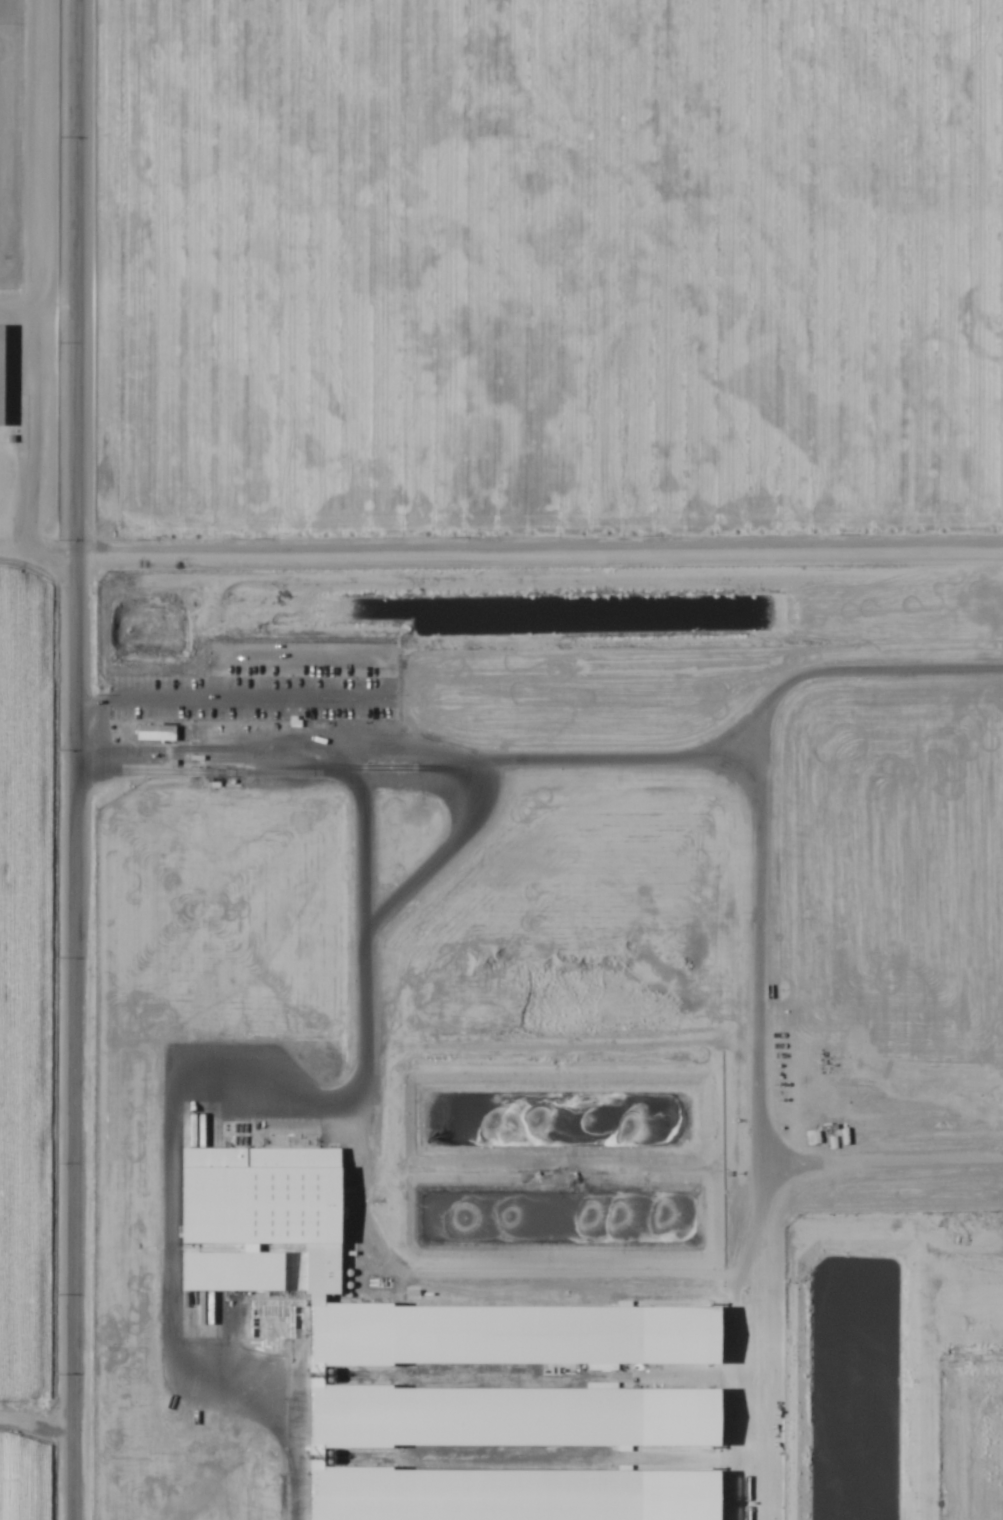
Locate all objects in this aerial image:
building: (2, 377)
road: (498, 562)
road: (75, 760)
road: (36, 1450)

